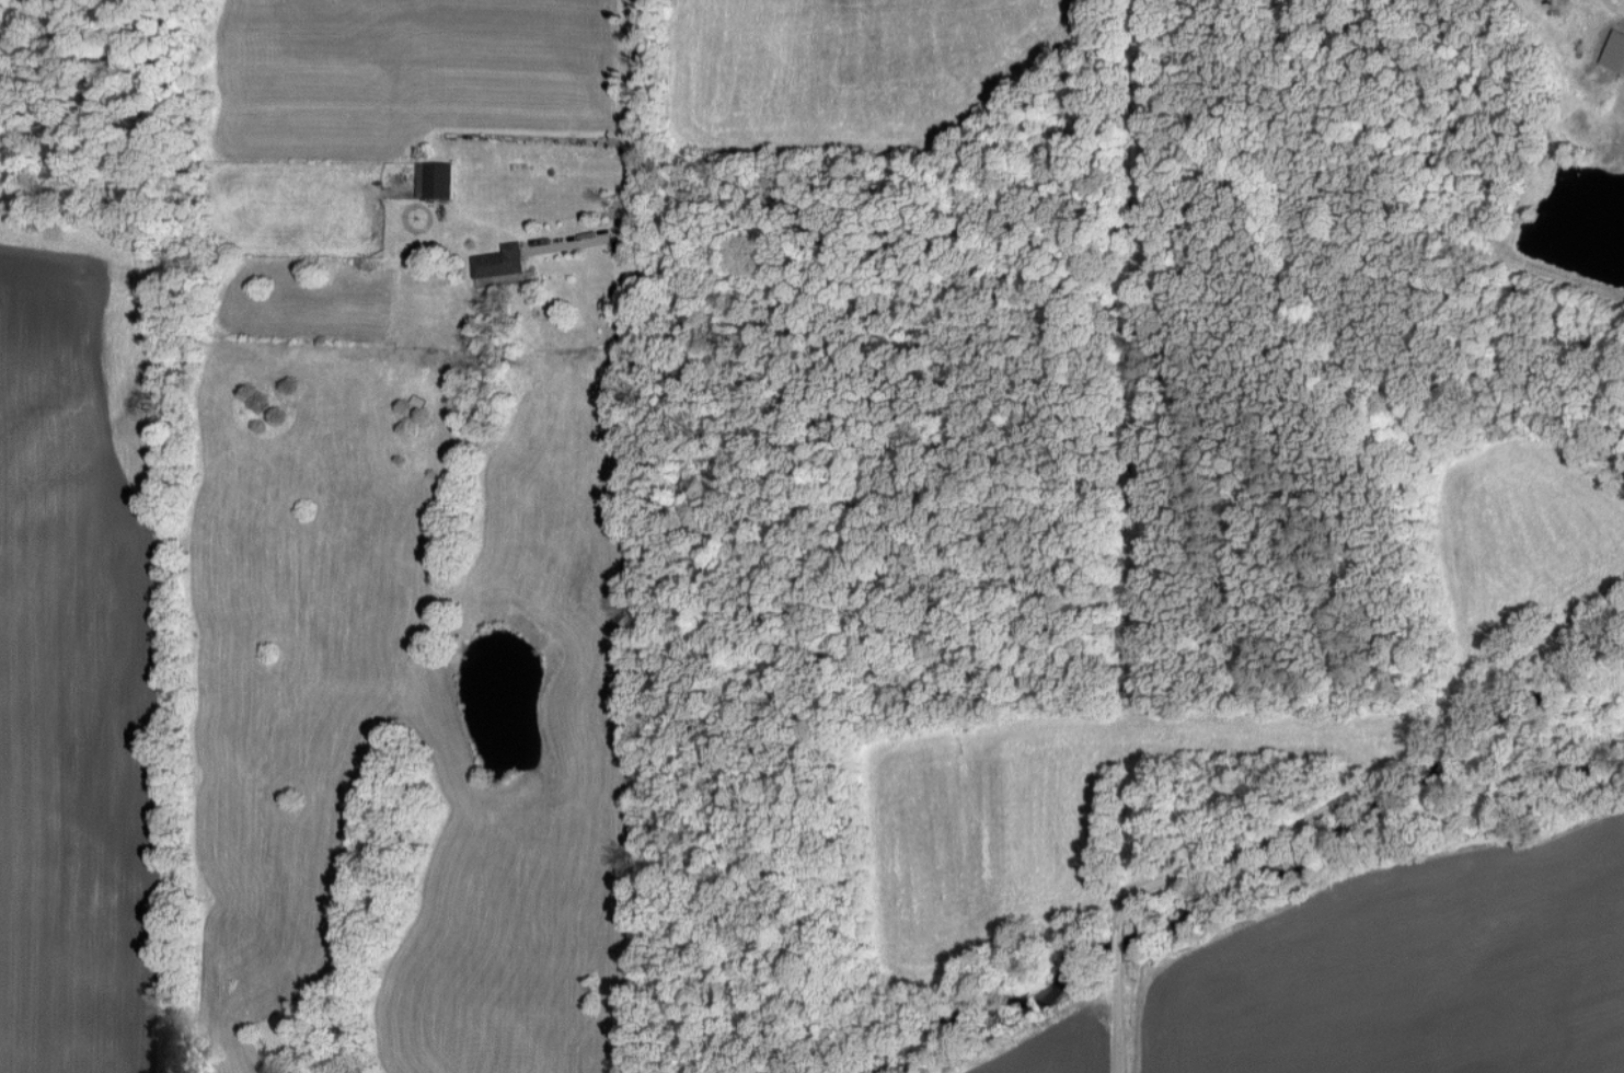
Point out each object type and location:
building: (1614, 50)
building: (434, 178)
building: (498, 261)
road: (1315, 812)

